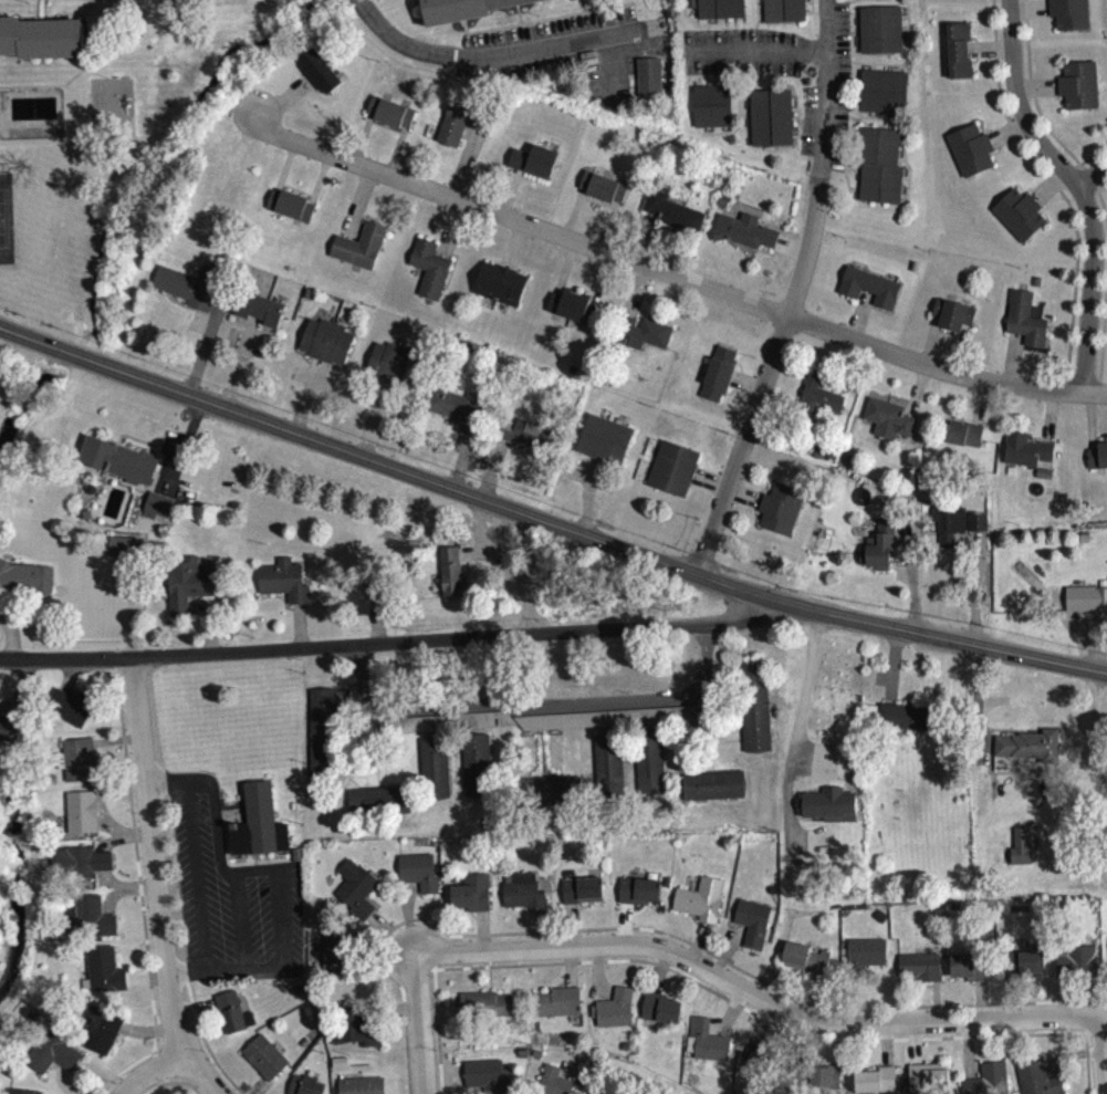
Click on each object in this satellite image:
building: (852, 0)
road: (584, 6)
road: (45, 9)
building: (461, 9)
building: (720, 12)
road: (519, 13)
building: (786, 14)
building: (1073, 18)
road: (540, 20)
building: (42, 37)
building: (883, 37)
parking lot: (560, 52)
road: (753, 53)
building: (961, 58)
road: (495, 60)
road: (90, 66)
road: (609, 72)
building: (322, 79)
building: (648, 79)
building: (1082, 93)
building: (886, 98)
road: (826, 100)
building: (714, 113)
building: (393, 119)
building: (773, 125)
building: (463, 129)
building: (973, 157)
building: (536, 168)
building: (883, 174)
road: (1093, 177)
road: (1079, 187)
building: (605, 194)
building: (292, 212)
park: (7, 217)
building: (673, 219)
building: (1021, 221)
building: (748, 238)
building: (362, 253)
building: (431, 275)
road: (671, 277)
building: (502, 291)
building: (191, 292)
building: (871, 294)
building: (573, 313)
building: (263, 316)
building: (955, 323)
building: (1027, 327)
building: (648, 340)
building: (328, 348)
building: (395, 372)
building: (720, 382)
road: (761, 387)
building: (823, 404)
building: (458, 414)
building: (890, 426)
building: (531, 441)
building: (967, 442)
building: (610, 448)
building: (119, 458)
building: (1030, 458)
building: (1099, 463)
building: (676, 477)
building: (157, 504)
building: (161, 513)
building: (782, 517)
road: (546, 522)
building: (960, 532)
building: (124, 544)
building: (126, 554)
building: (880, 560)
building: (451, 572)
building: (25, 579)
building: (284, 579)
building: (189, 582)
building: (374, 596)
building: (1087, 606)
road: (409, 640)
road: (805, 692)
road: (540, 701)
building: (71, 713)
building: (756, 720)
building: (905, 723)
building: (607, 726)
building: (9, 737)
building: (323, 737)
building: (1031, 753)
building: (82, 767)
building: (651, 771)
building: (610, 774)
building: (716, 793)
building: (831, 812)
building: (85, 820)
building: (262, 831)
building: (1022, 855)
building: (82, 871)
building: (421, 878)
road: (160, 888)
building: (358, 896)
building: (583, 897)
building: (524, 898)
building: (640, 898)
building: (474, 900)
building: (702, 907)
building: (95, 925)
building: (754, 929)
building: (338, 960)
building: (868, 960)
building: (805, 965)
building: (1077, 970)
building: (1026, 971)
building: (921, 973)
building: (970, 975)
building: (107, 978)
road: (759, 992)
building: (562, 1010)
building: (488, 1012)
building: (616, 1017)
building: (661, 1017)
road: (1105, 1018)
building: (232, 1020)
road: (424, 1023)
building: (357, 1035)
building: (104, 1038)
building: (709, 1049)
road: (1105, 1051)
building: (54, 1061)
building: (758, 1062)
building: (268, 1065)
road: (200, 1073)
building: (489, 1081)
building: (930, 1082)
building: (991, 1083)
building: (1038, 1083)
building: (554, 1084)
building: (877, 1085)
building: (307, 1090)
building: (365, 1090)

